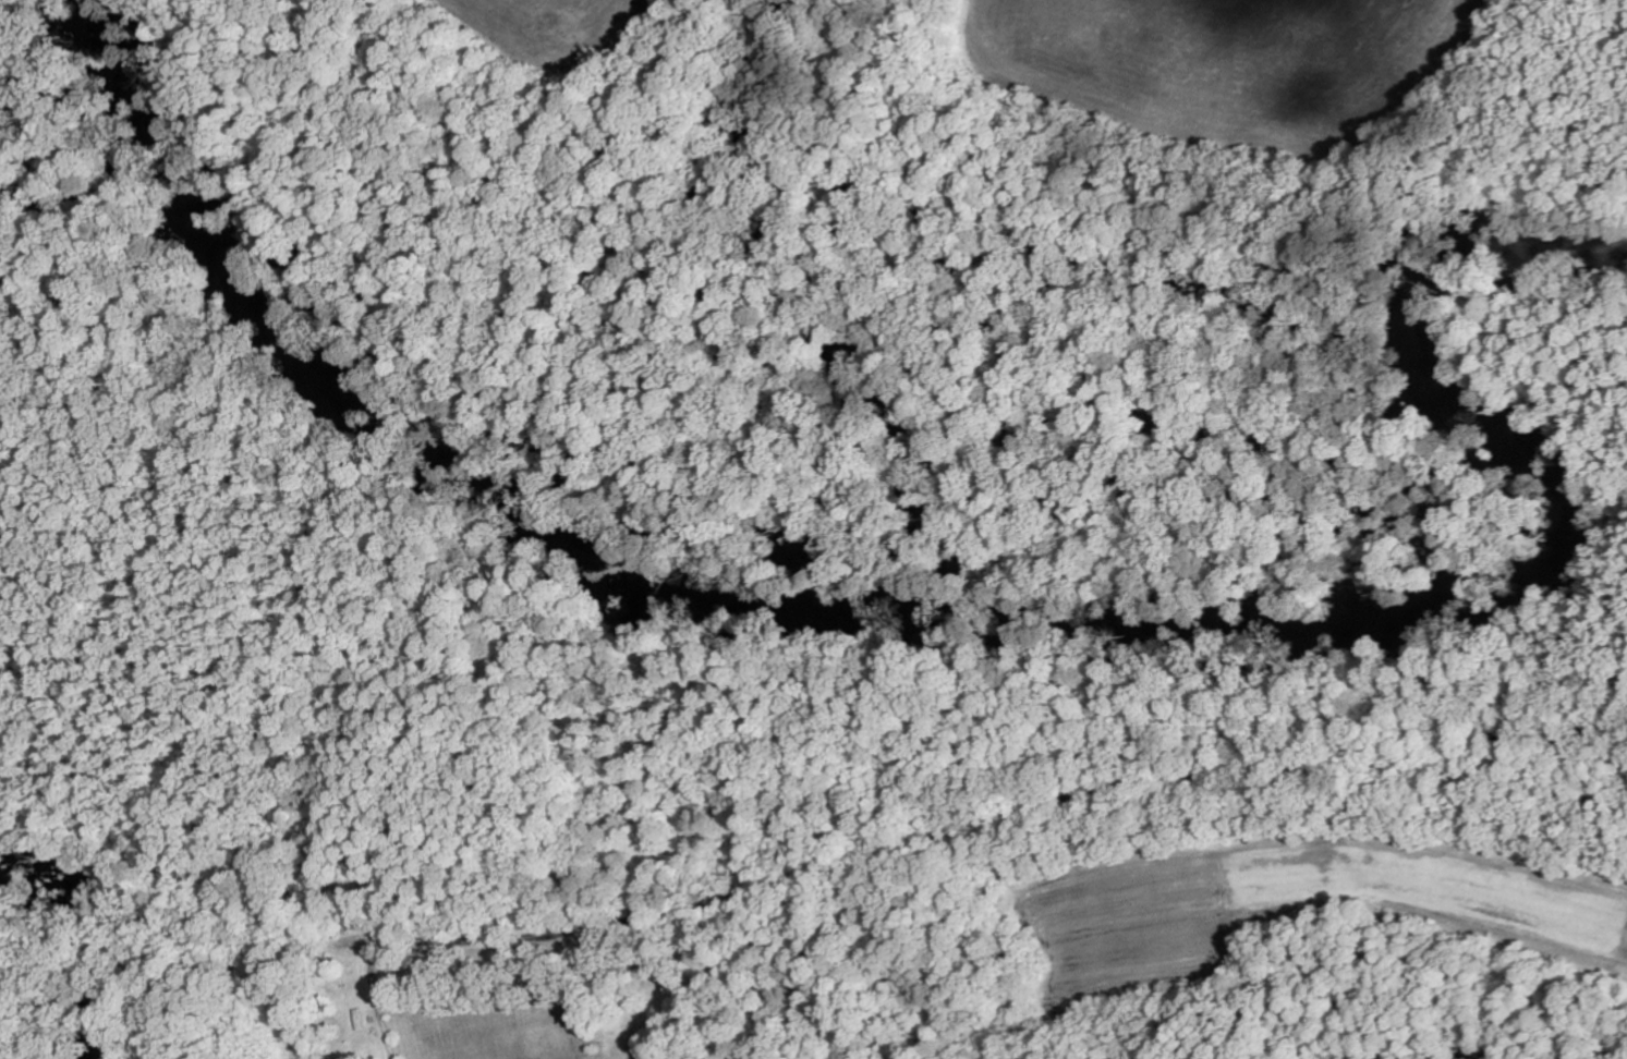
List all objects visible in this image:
river: (997, 607)
road: (915, 897)

